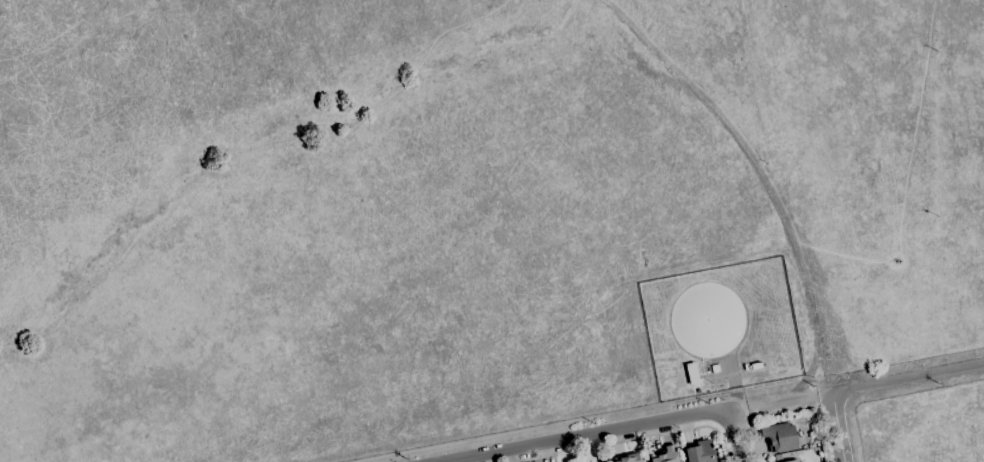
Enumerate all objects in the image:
road: (756, 175)
building: (756, 366)
building: (745, 367)
building: (715, 369)
building: (692, 374)
road: (908, 381)
building: (698, 391)
road: (781, 402)
building: (766, 423)
road: (839, 429)
road: (749, 434)
road: (589, 435)
road: (823, 436)
building: (779, 437)
road: (735, 438)
road: (634, 440)
building: (700, 452)
building: (666, 455)
building: (778, 457)
building: (628, 458)
building: (792, 461)

